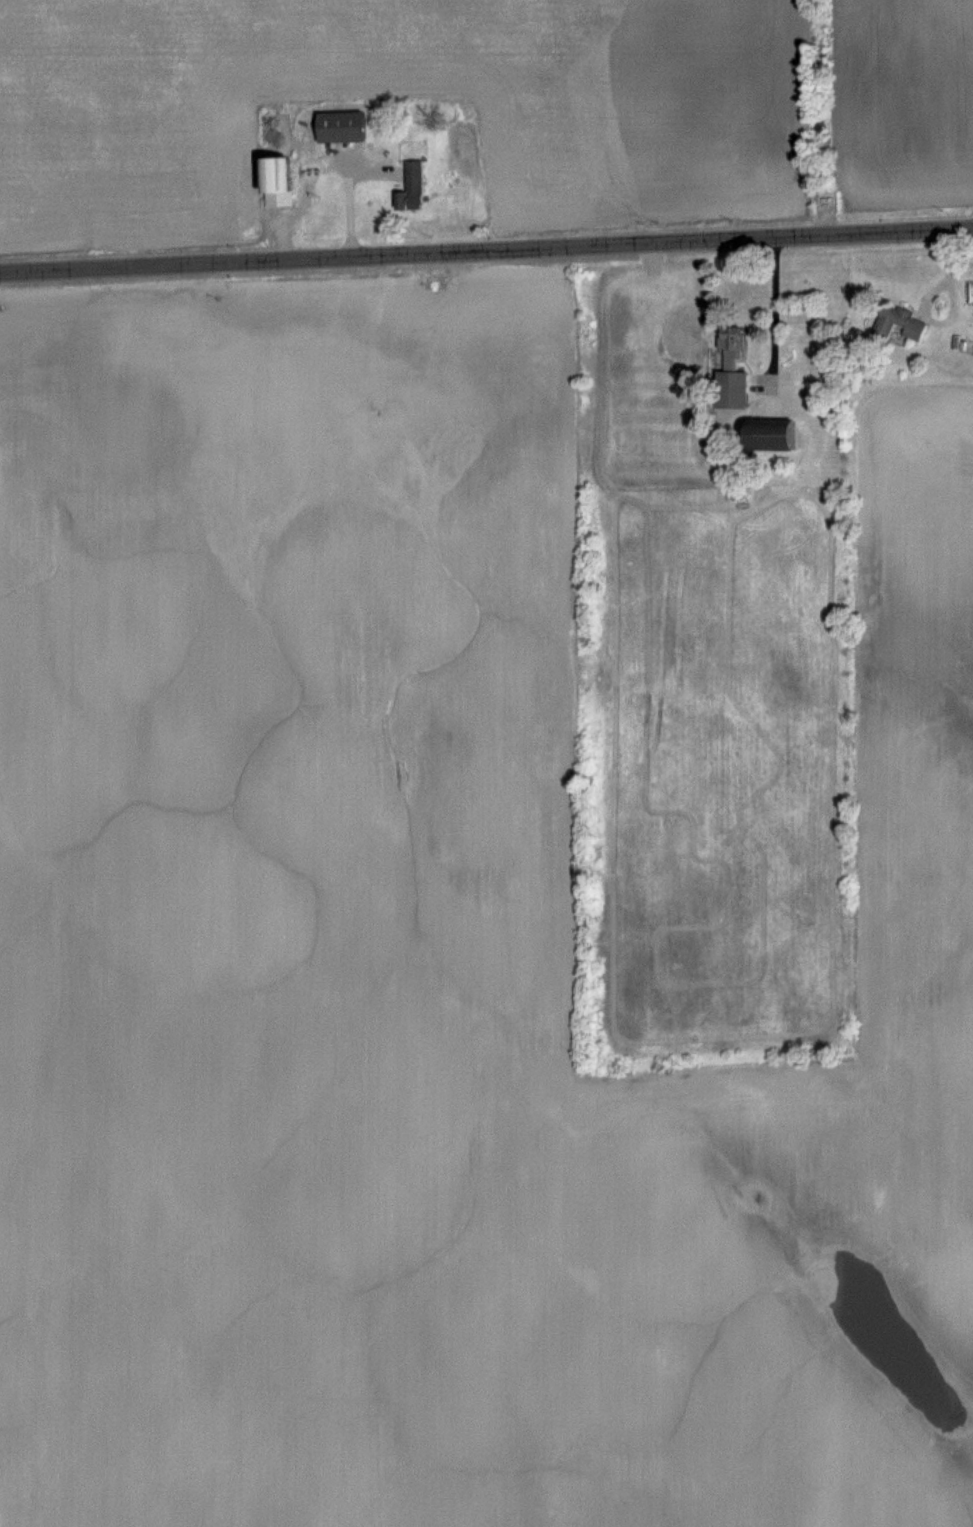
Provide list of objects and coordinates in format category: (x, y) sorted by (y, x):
building: (341, 128)
building: (278, 181)
building: (413, 187)
road: (353, 193)
road: (486, 248)
road: (778, 312)
building: (900, 325)
building: (733, 346)
building: (733, 391)
building: (772, 435)

